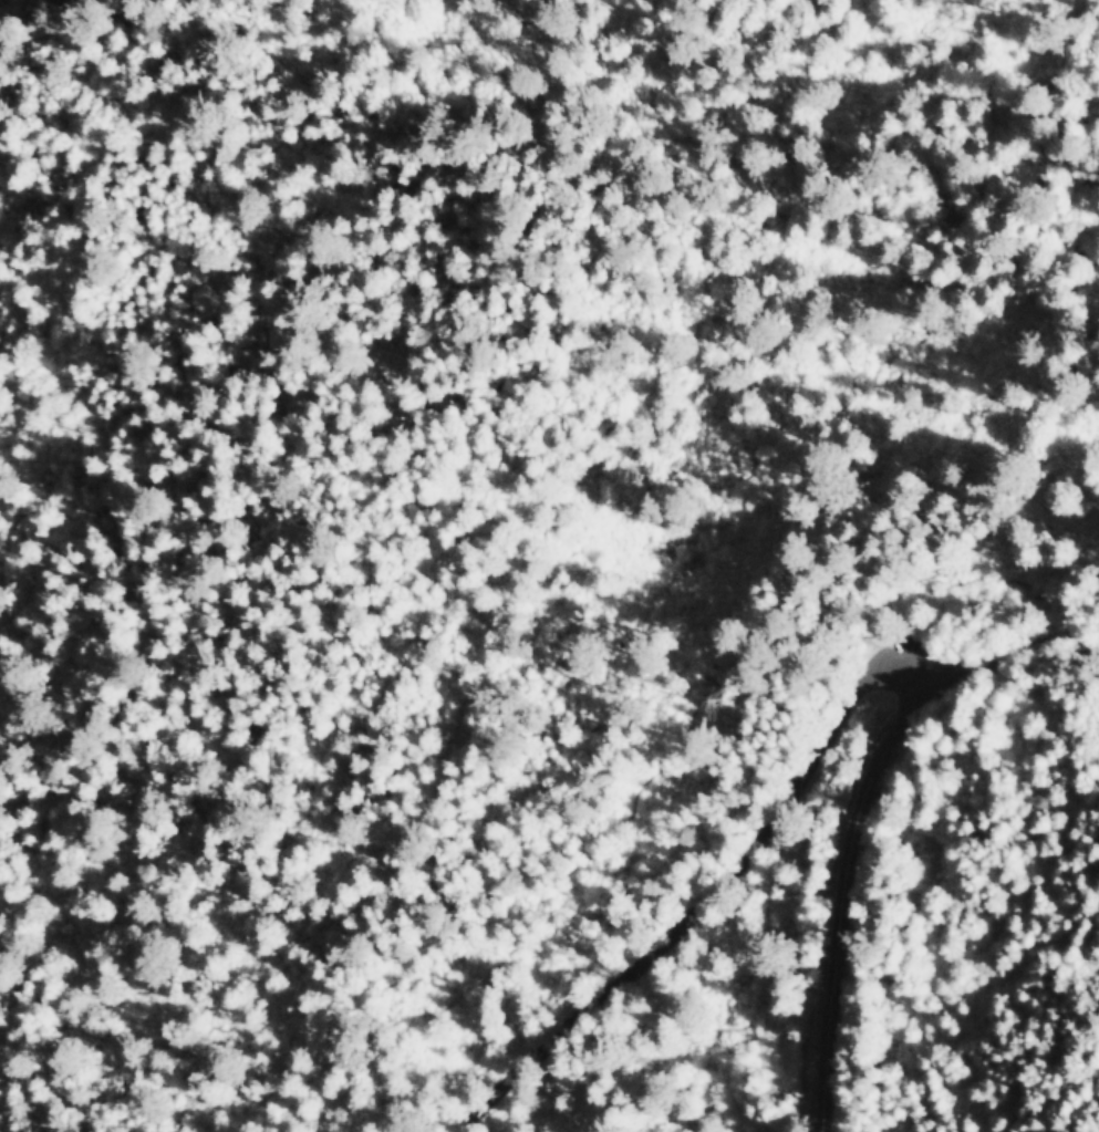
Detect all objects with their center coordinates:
road: (1074, 127)
road: (1059, 352)
road: (963, 586)
road: (865, 643)
road: (1038, 644)
parking lot: (923, 656)
road: (916, 669)
road: (954, 673)
road: (631, 851)
road: (830, 894)
road: (688, 906)

